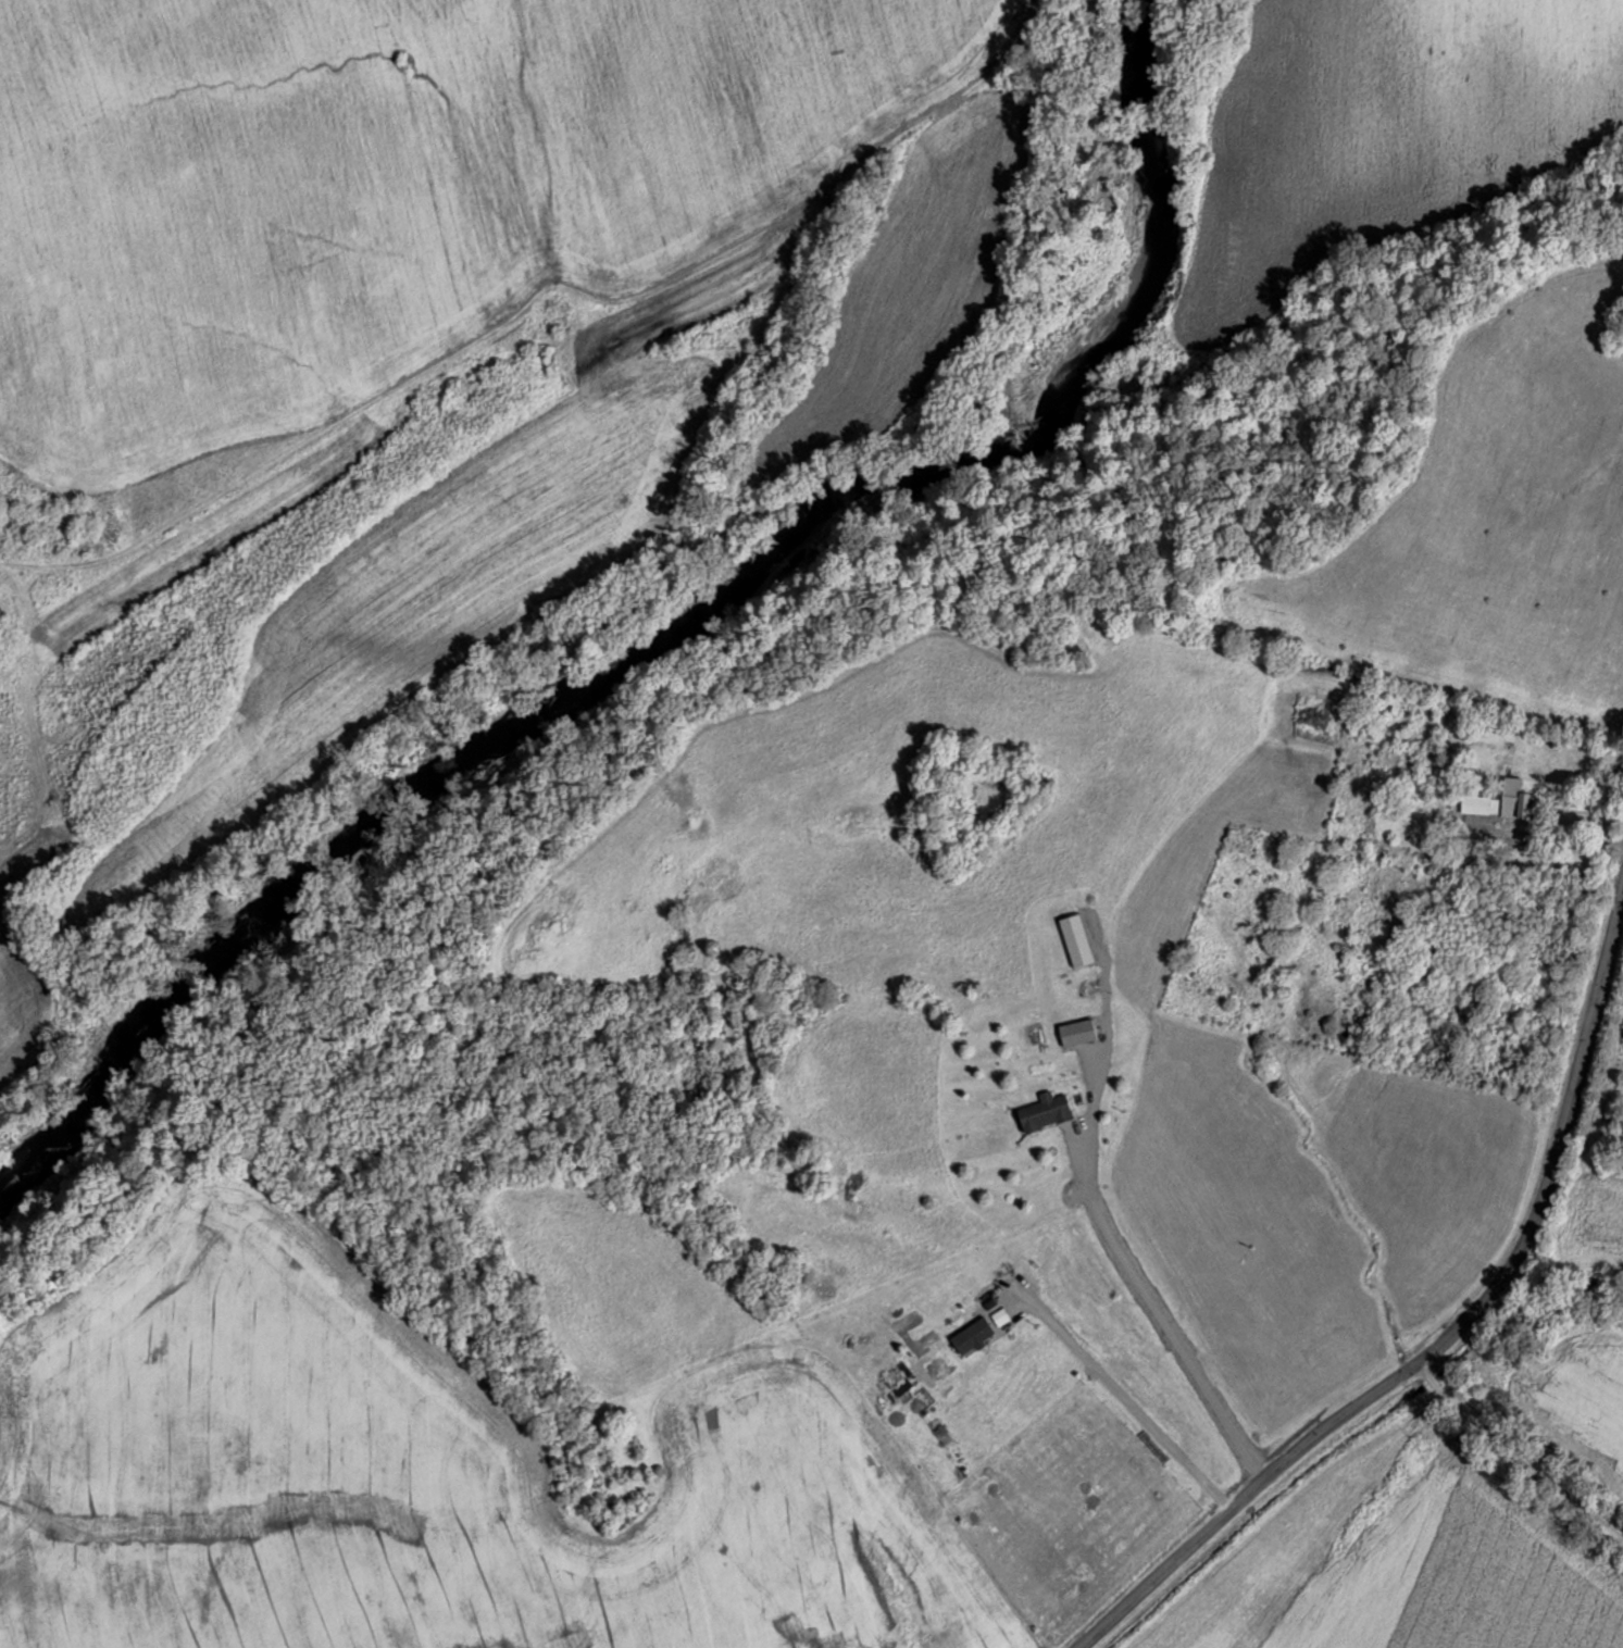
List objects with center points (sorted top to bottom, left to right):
river: (672, 622)
building: (1306, 713)
building: (1513, 798)
building: (1074, 939)
building: (1075, 1031)
building: (1043, 1111)
building: (959, 1315)
road: (1418, 1350)
road: (1510, 1475)

